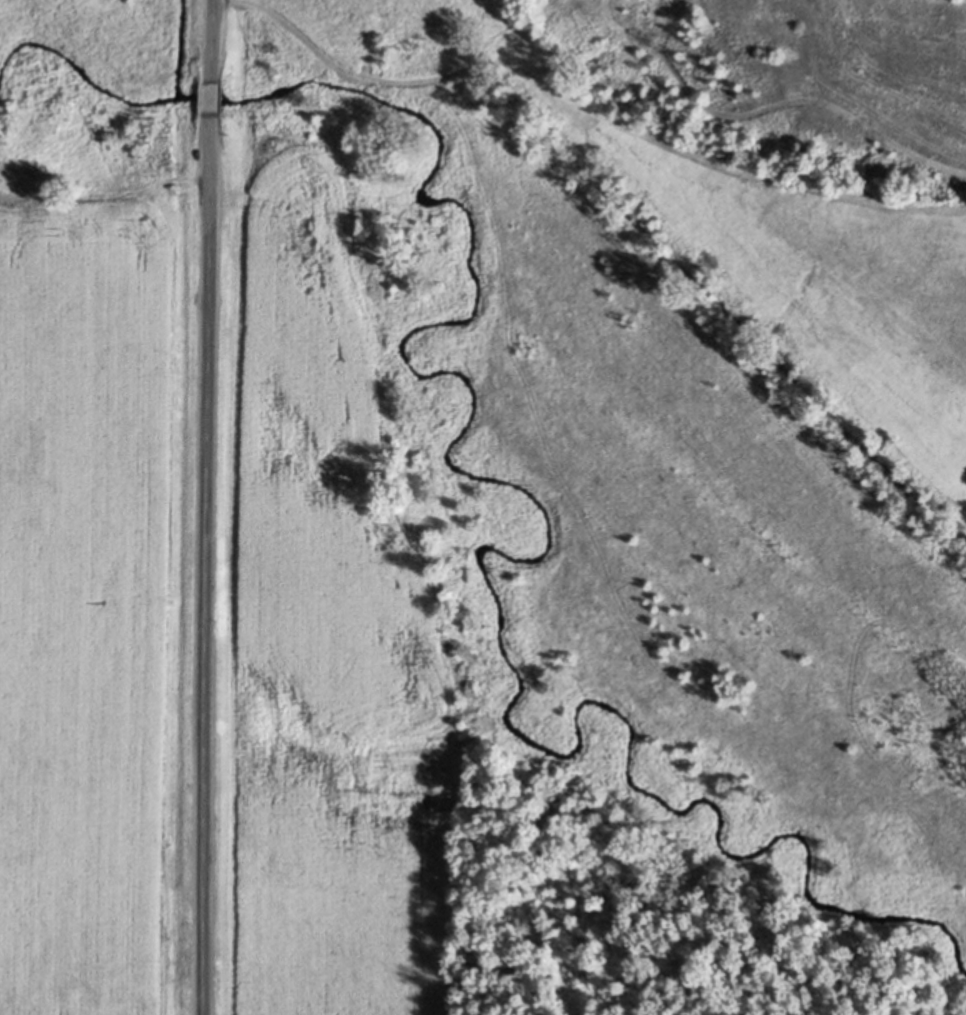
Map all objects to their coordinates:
road: (210, 41)
road: (209, 100)
river: (487, 476)
road: (204, 565)

